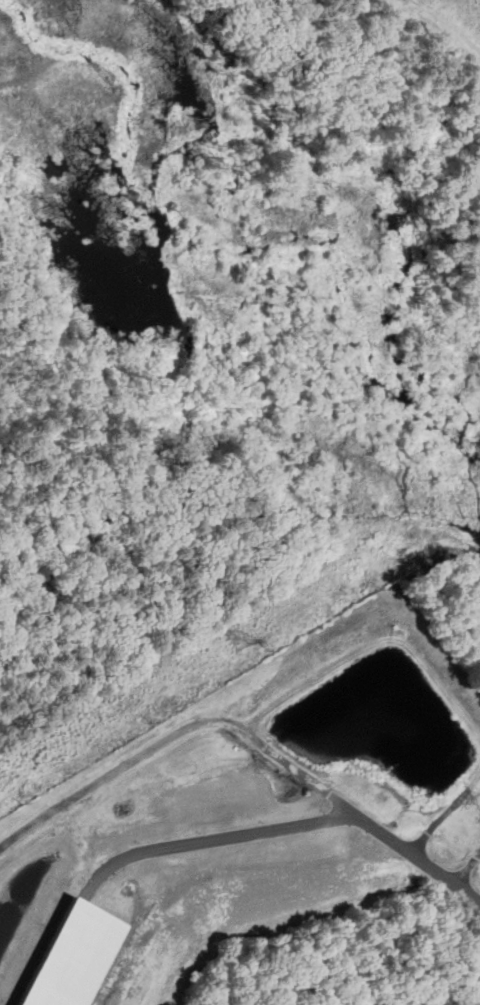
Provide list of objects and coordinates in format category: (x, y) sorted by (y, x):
power tower: (239, 645)
road: (175, 730)
road: (292, 821)

